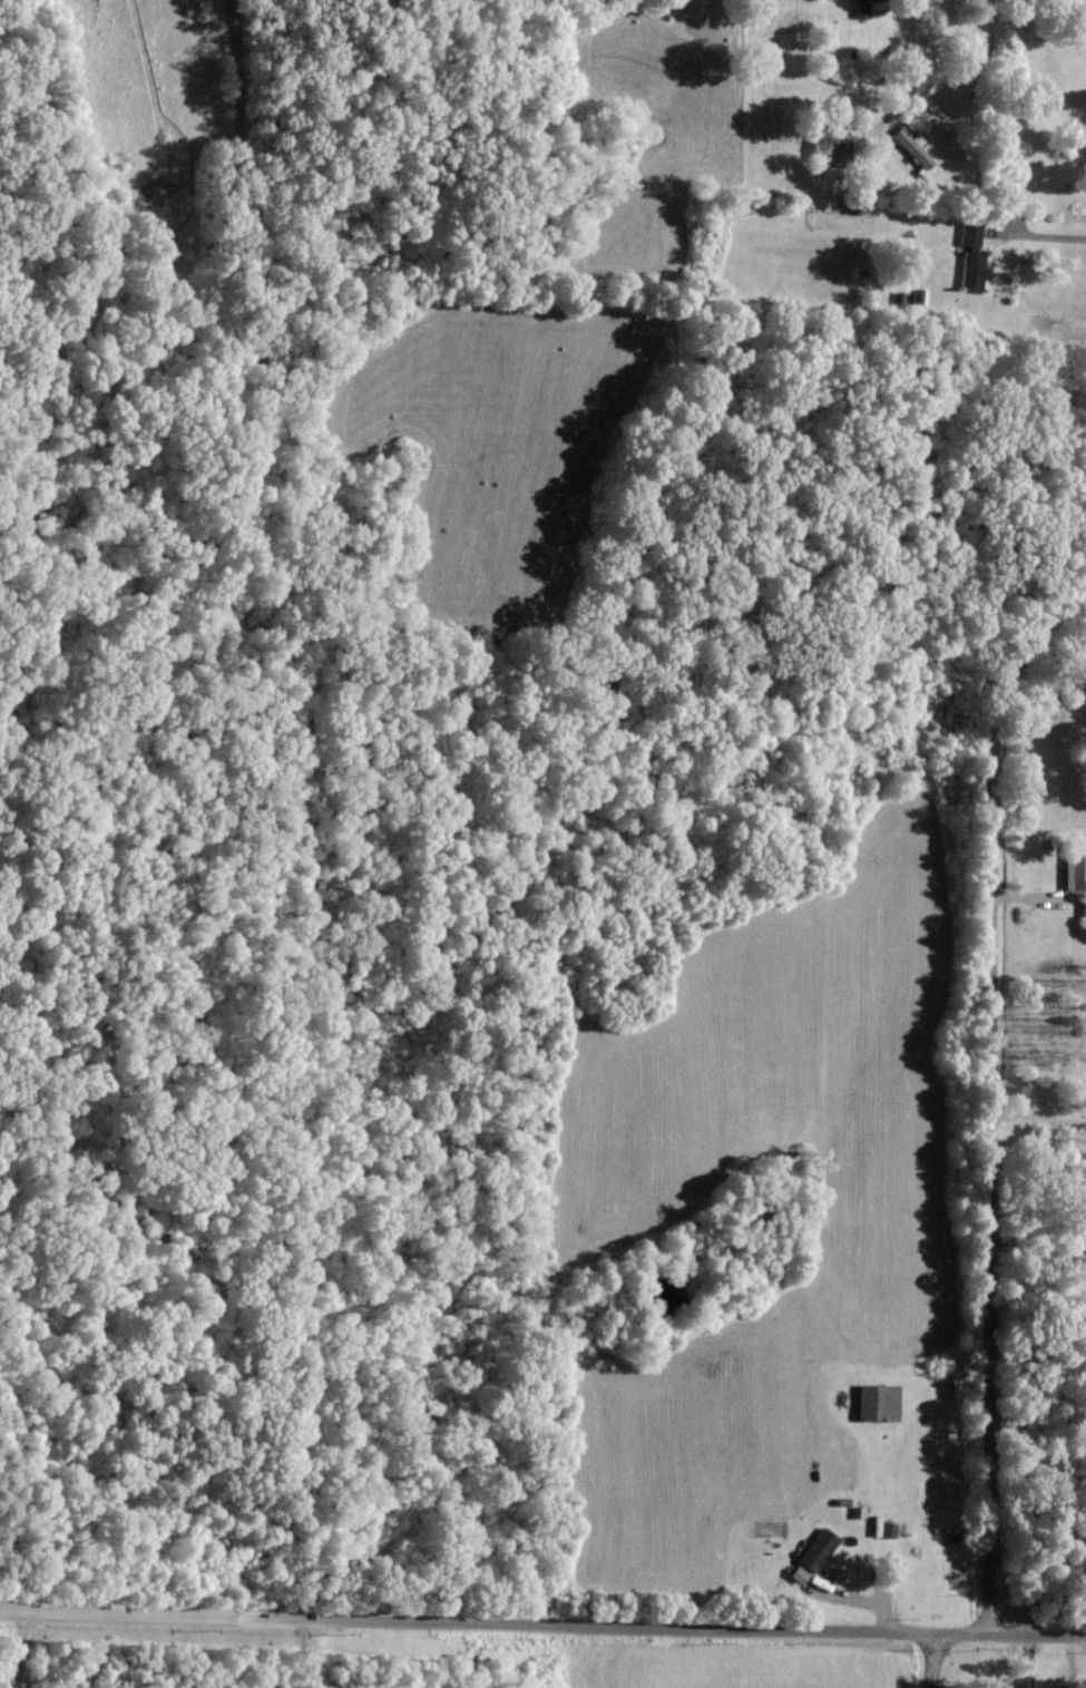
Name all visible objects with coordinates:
building: (858, 8)
road: (947, 75)
building: (822, 146)
building: (911, 150)
road: (1046, 234)
building: (969, 247)
building: (1075, 863)
road: (1038, 1115)
road: (988, 1120)
building: (874, 1402)
building: (886, 1529)
building: (813, 1549)
building: (794, 1573)
road: (542, 1626)
road: (19, 1650)
road: (312, 1652)

